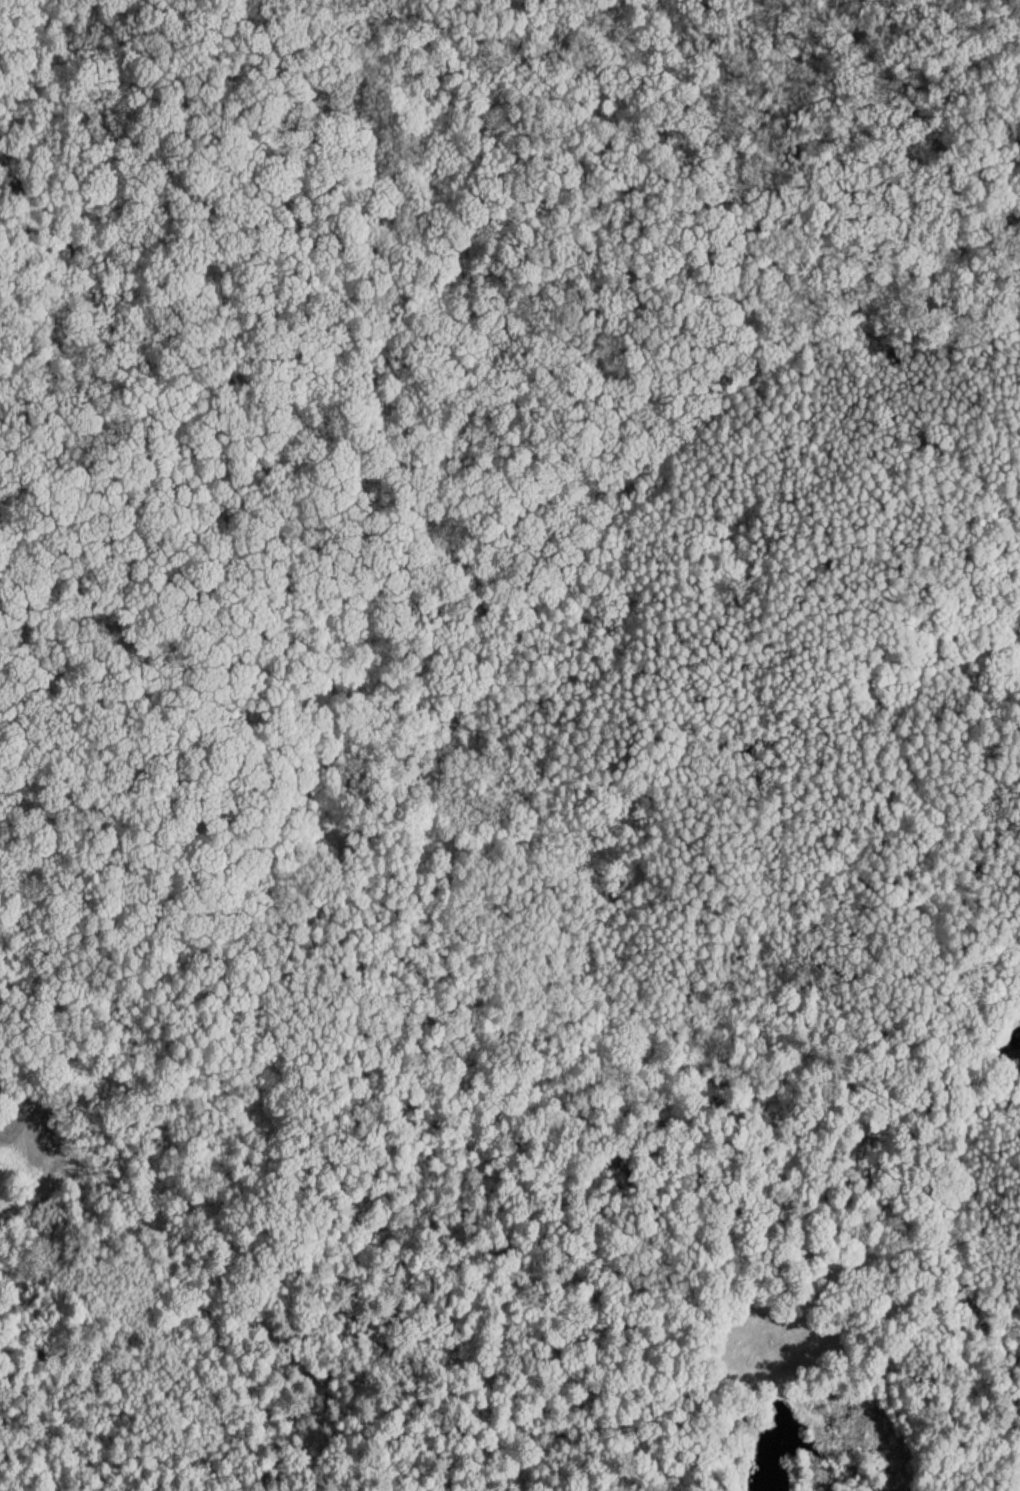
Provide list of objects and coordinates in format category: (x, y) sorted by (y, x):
road: (267, 468)
road: (482, 684)
road: (44, 1108)

